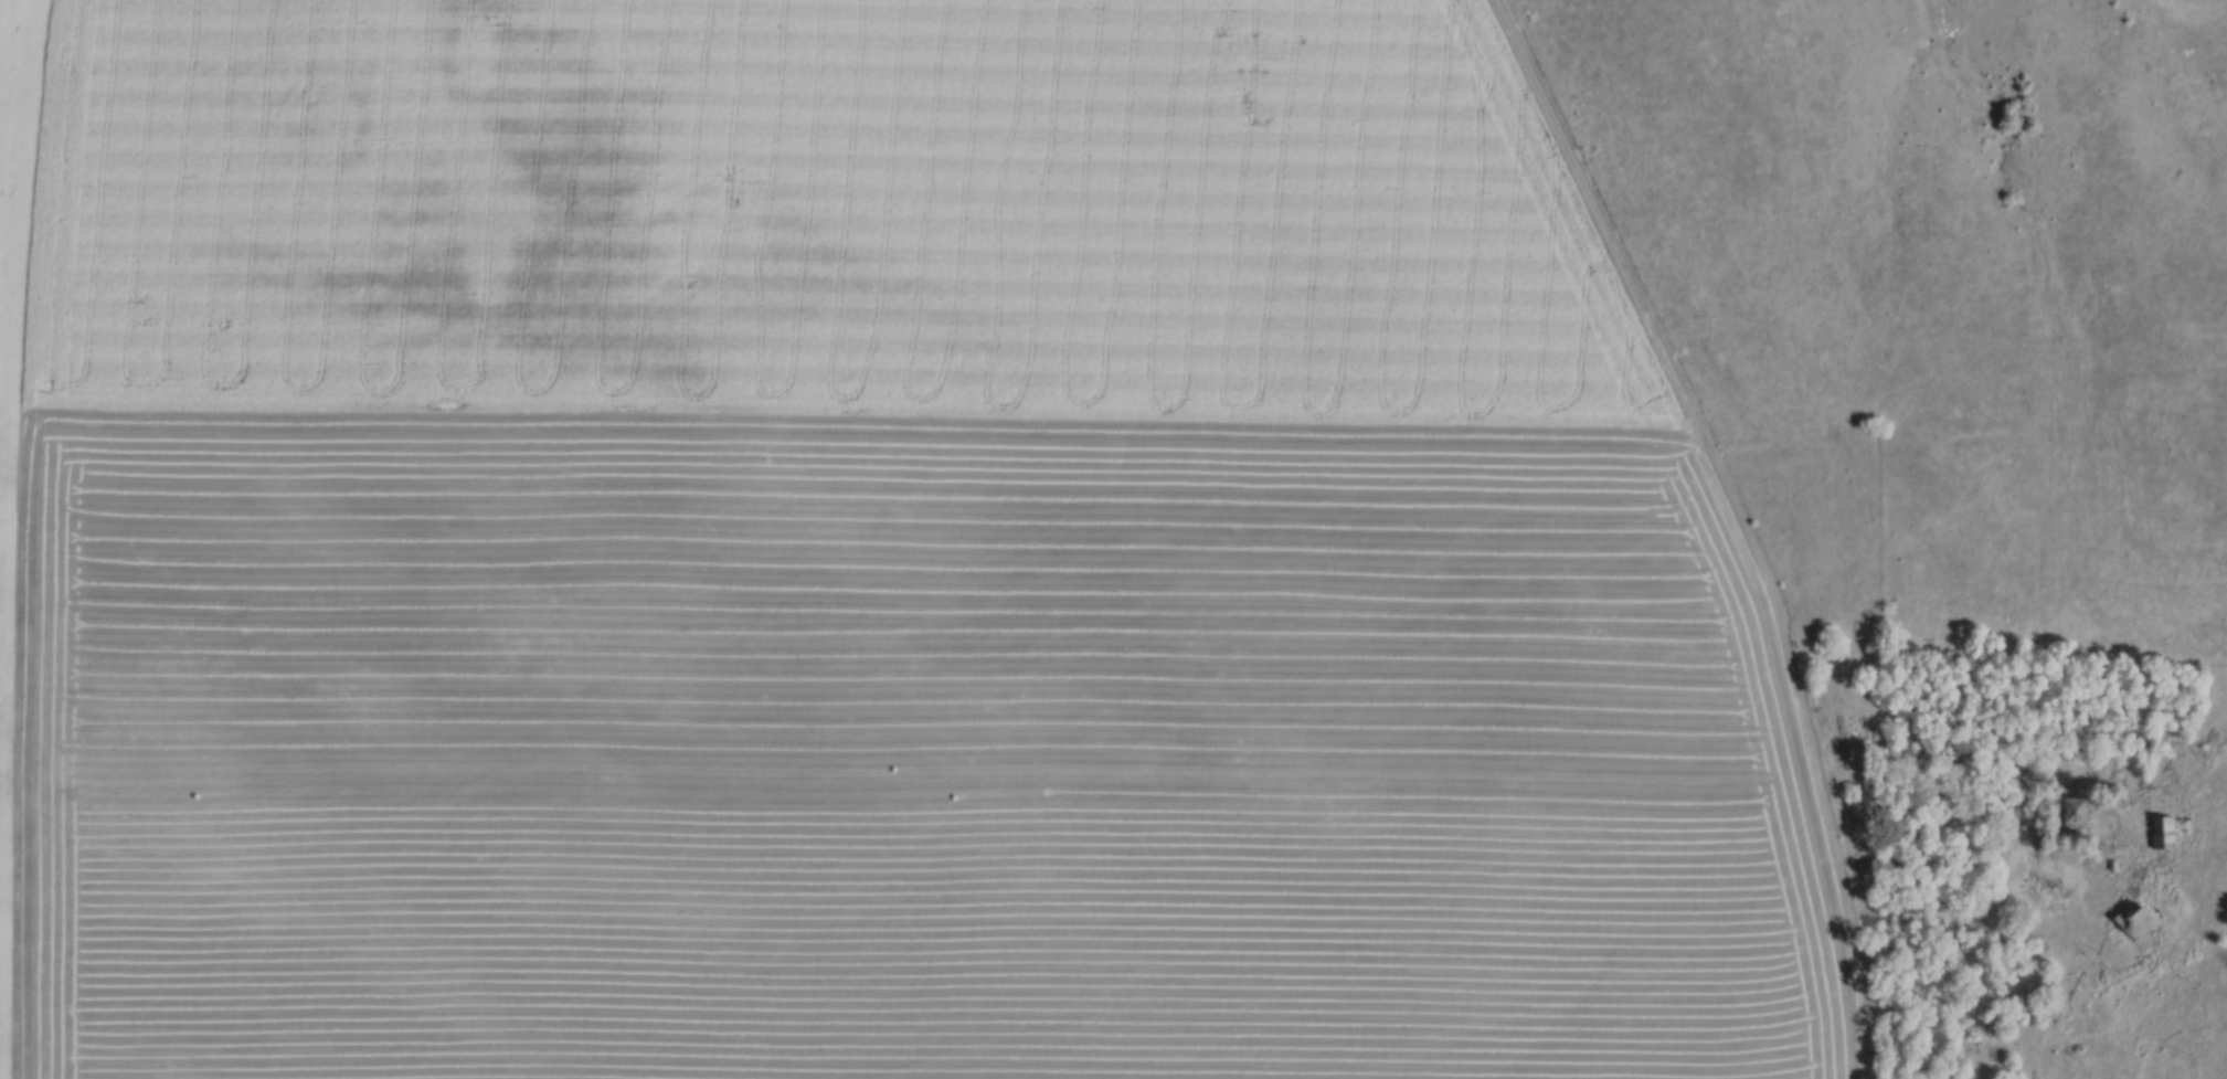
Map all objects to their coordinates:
road: (1669, 377)
building: (1843, 737)
building: (2161, 831)
building: (2130, 919)

